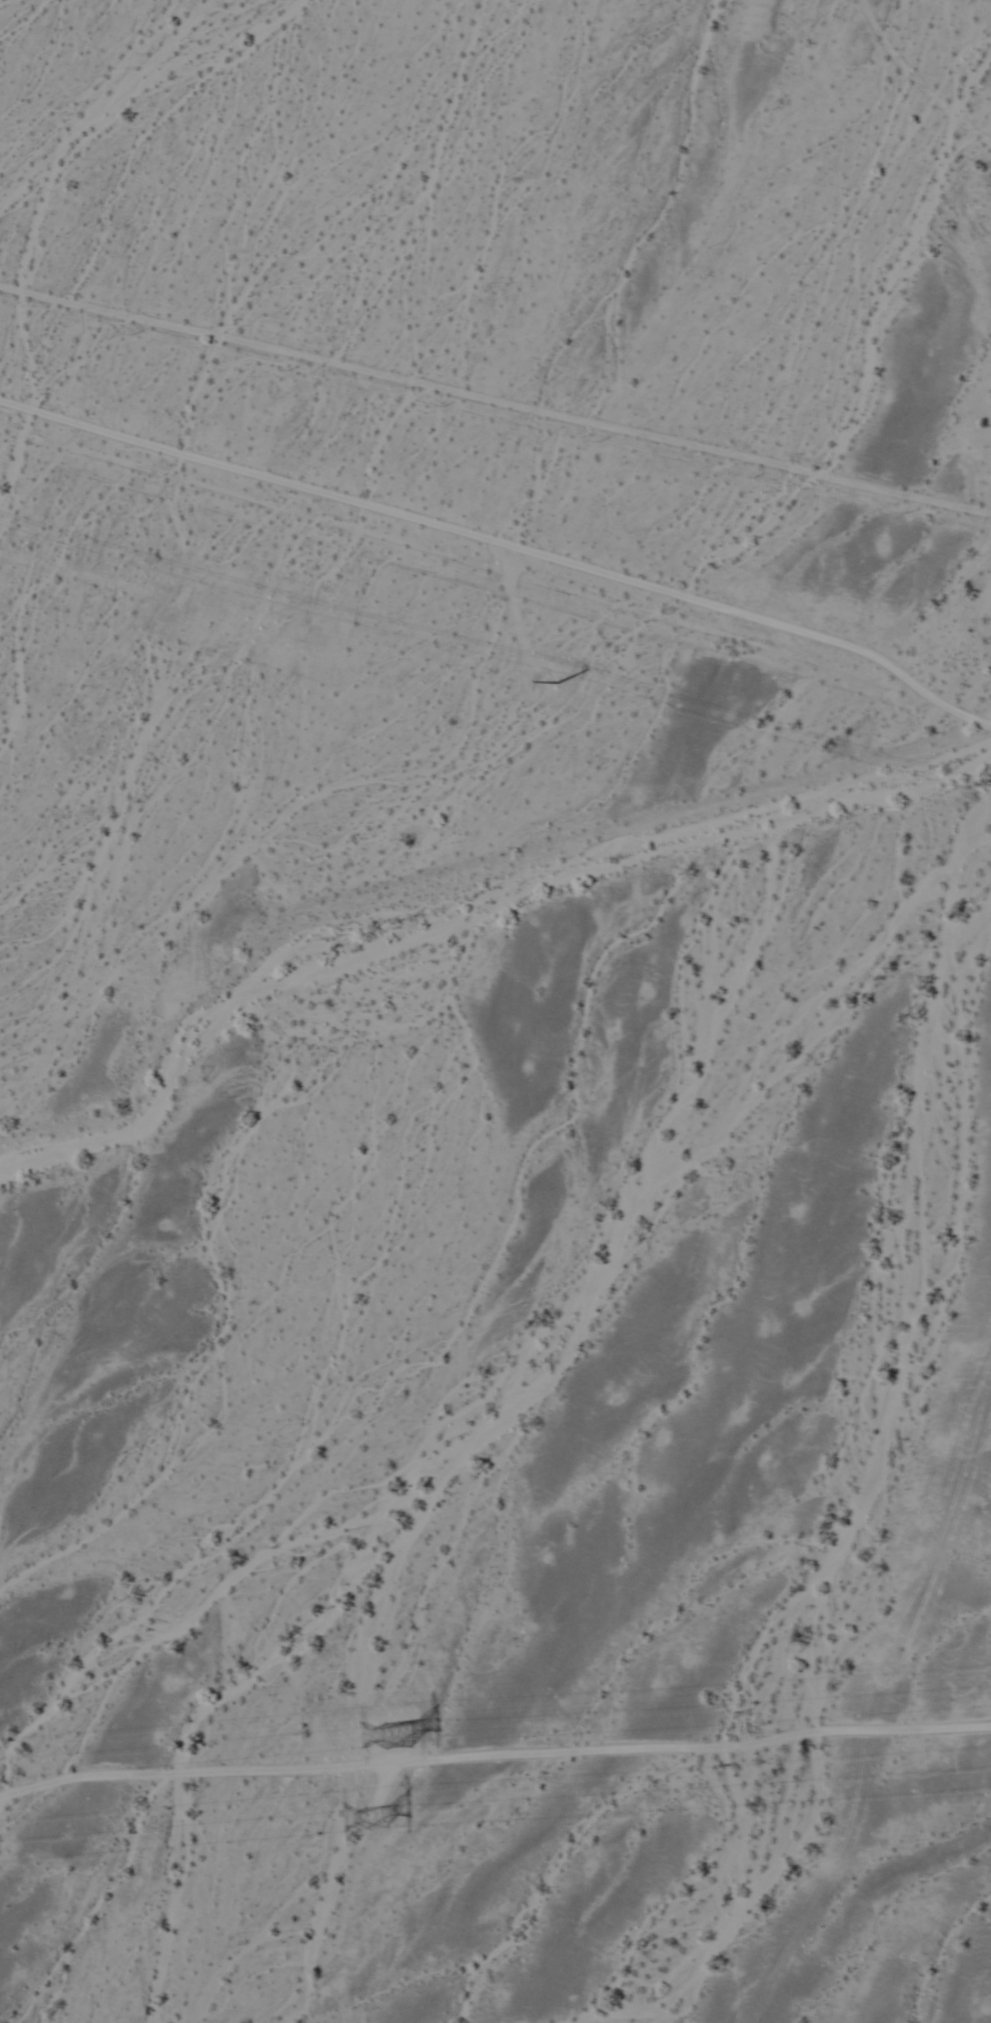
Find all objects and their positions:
road: (495, 402)
road: (504, 544)
power tower: (390, 1733)
power tower: (368, 1810)

